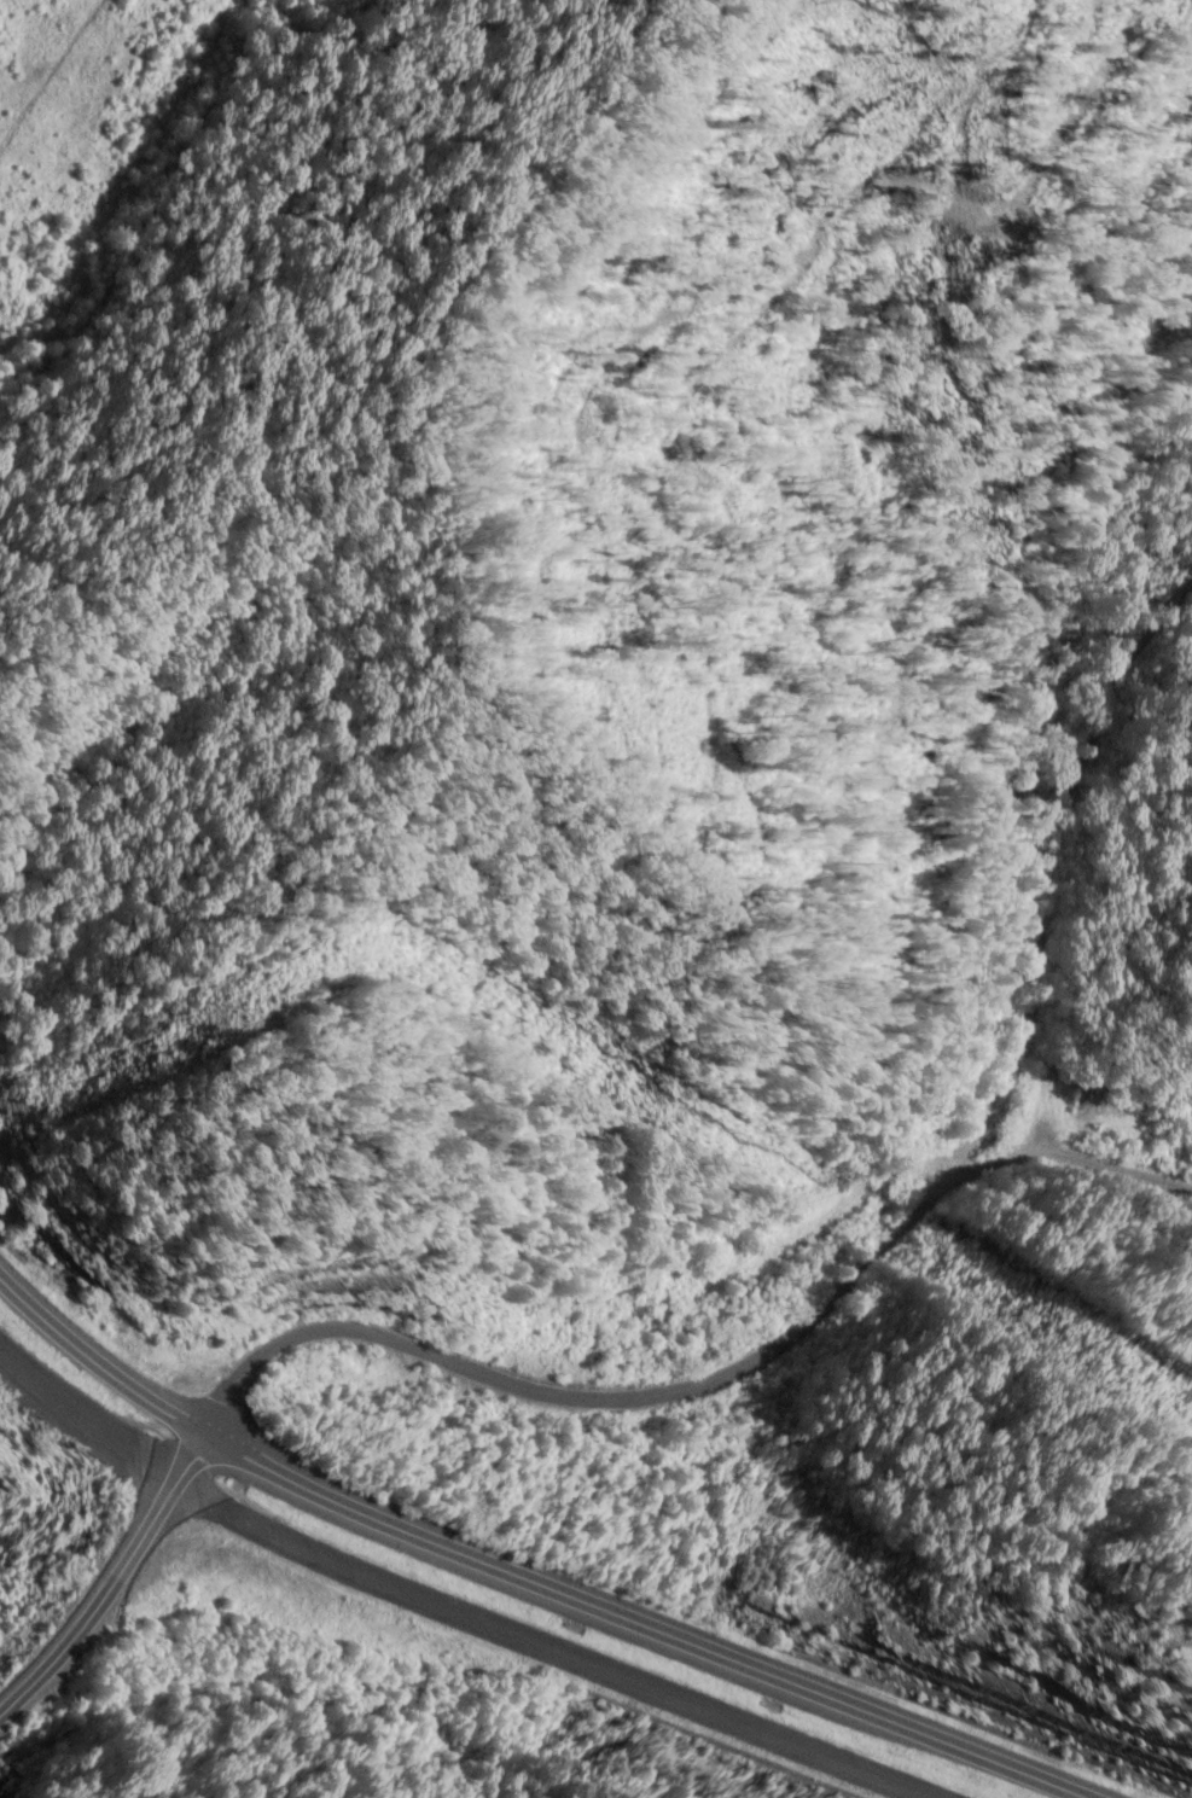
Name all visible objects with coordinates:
road: (1058, 801)
road: (1078, 1168)
road: (665, 1402)
road: (536, 1573)
road: (111, 1583)

